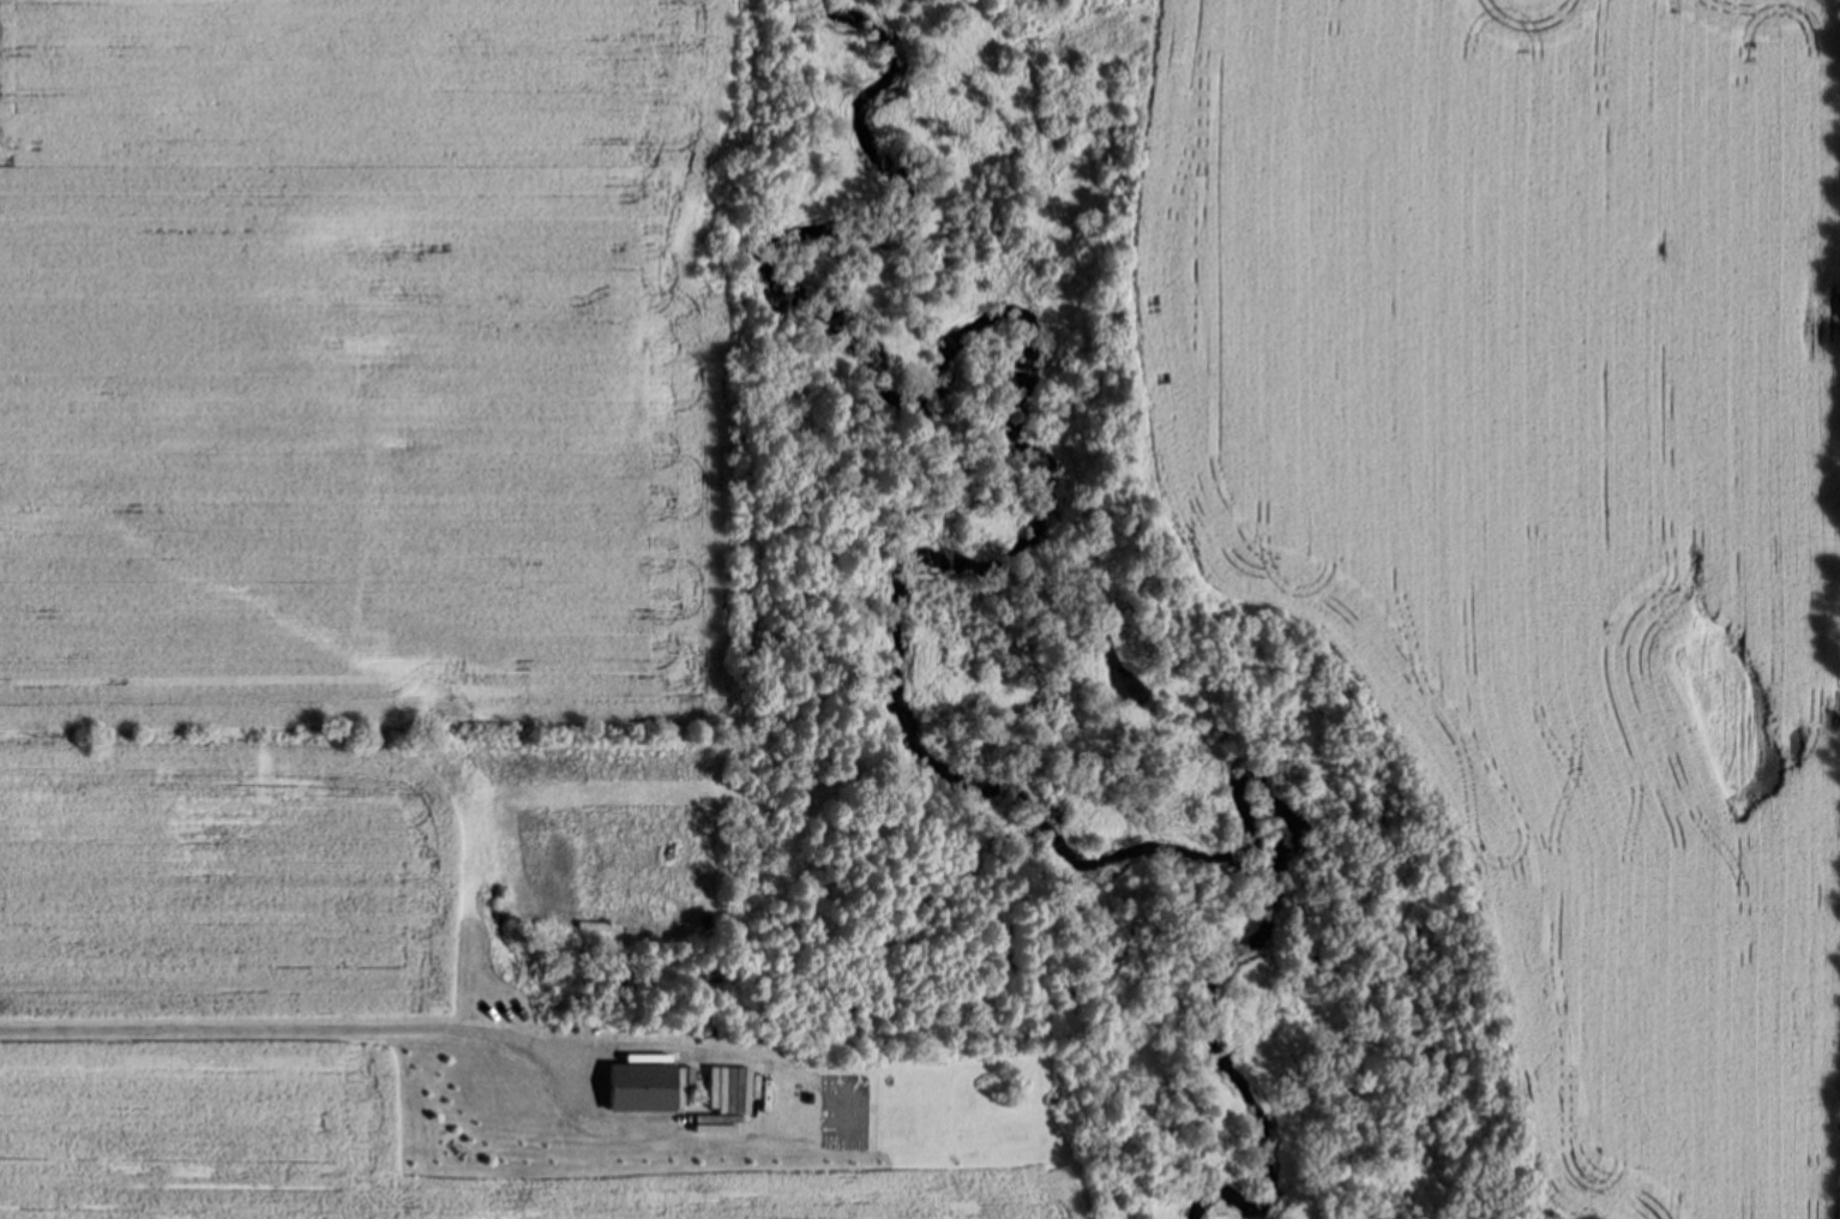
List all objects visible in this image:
road: (300, 1025)
building: (643, 1092)

